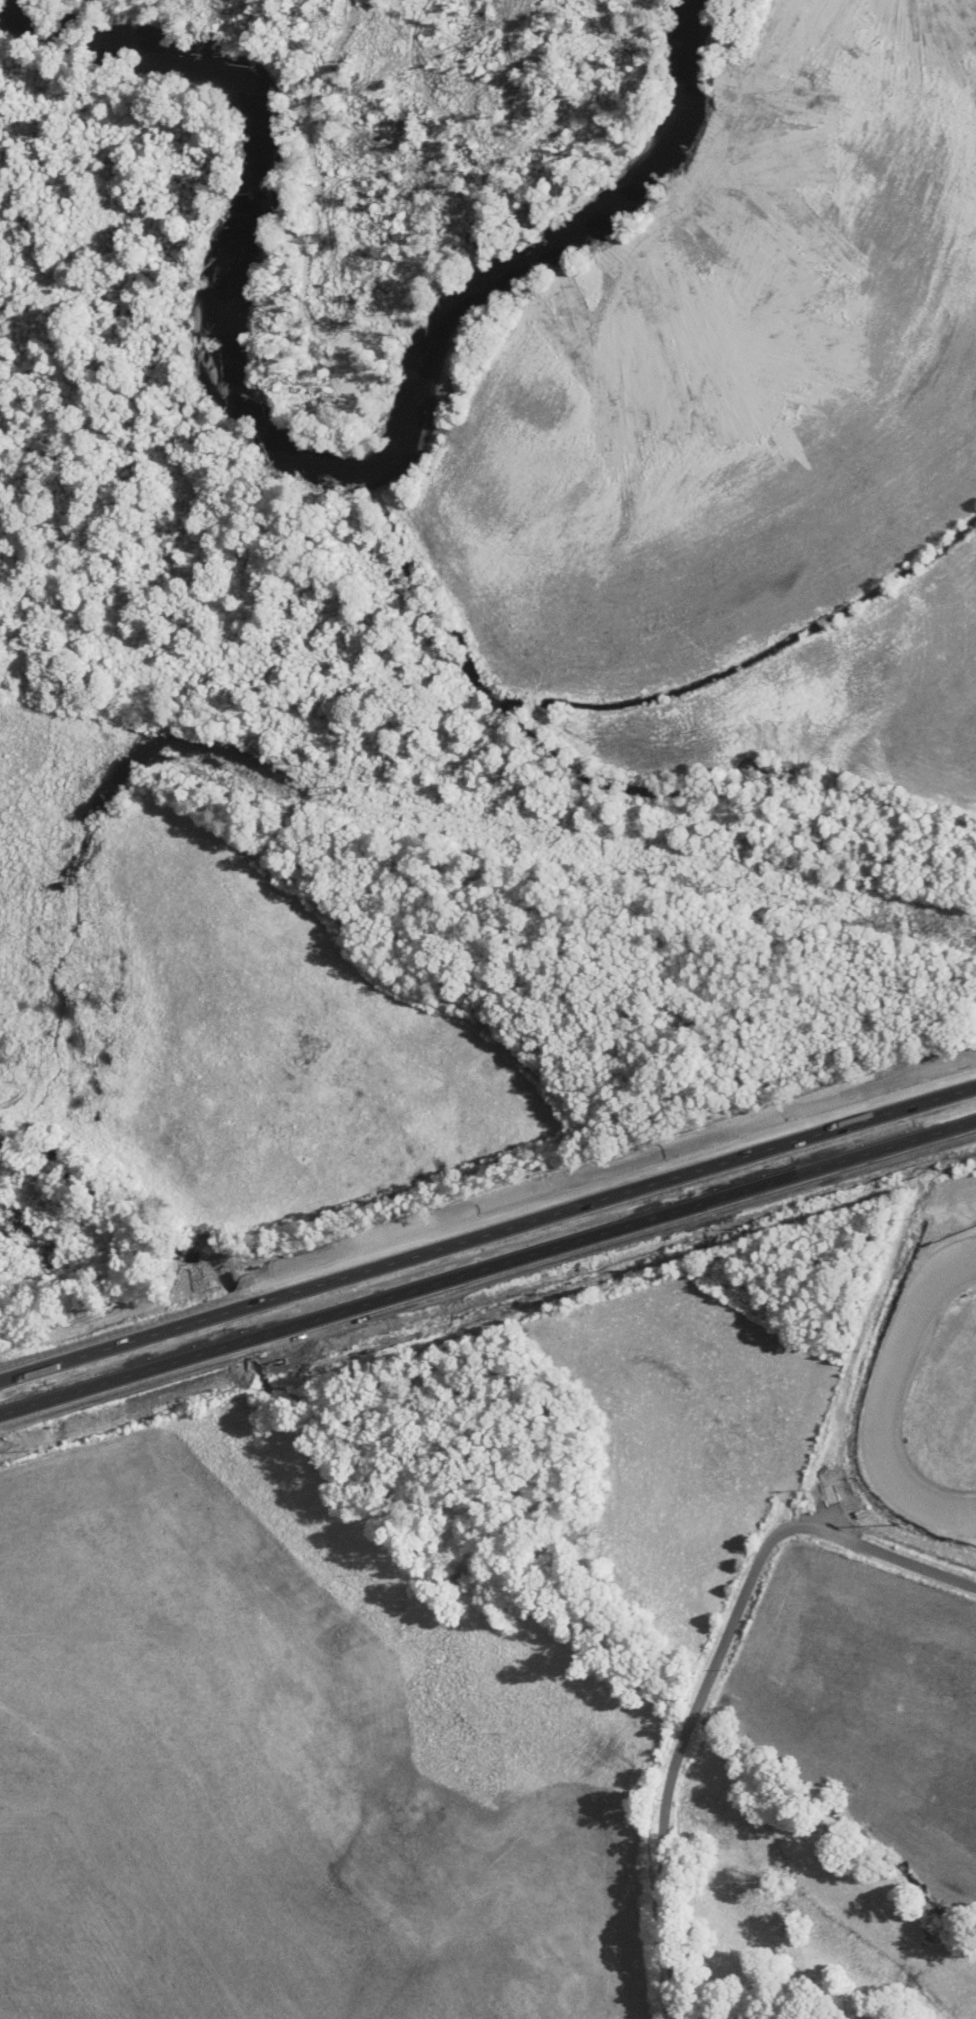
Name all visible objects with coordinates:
road: (488, 1235)
road: (488, 1264)
raceway: (884, 1395)
road: (714, 1670)

